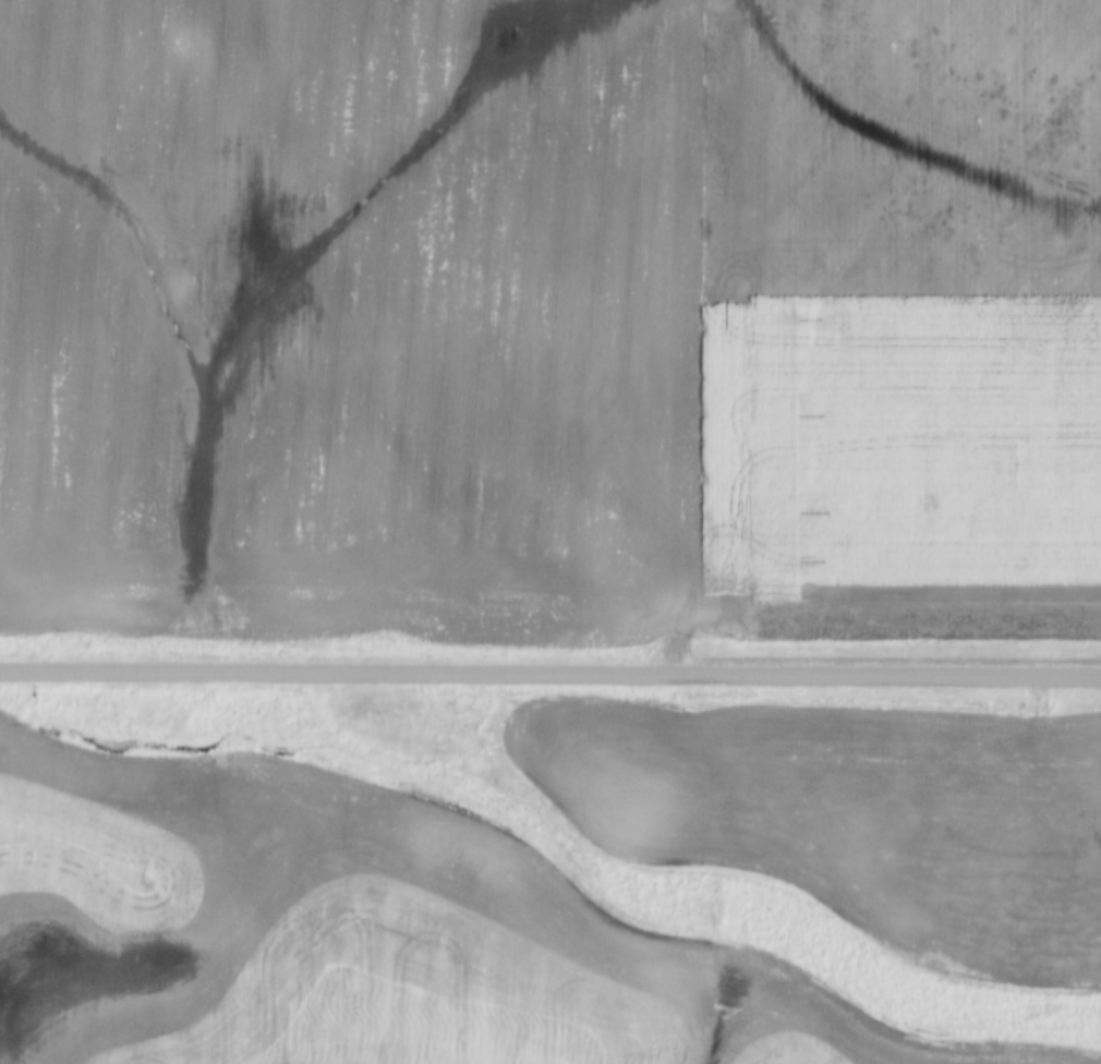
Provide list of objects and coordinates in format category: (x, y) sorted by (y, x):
road: (550, 673)

